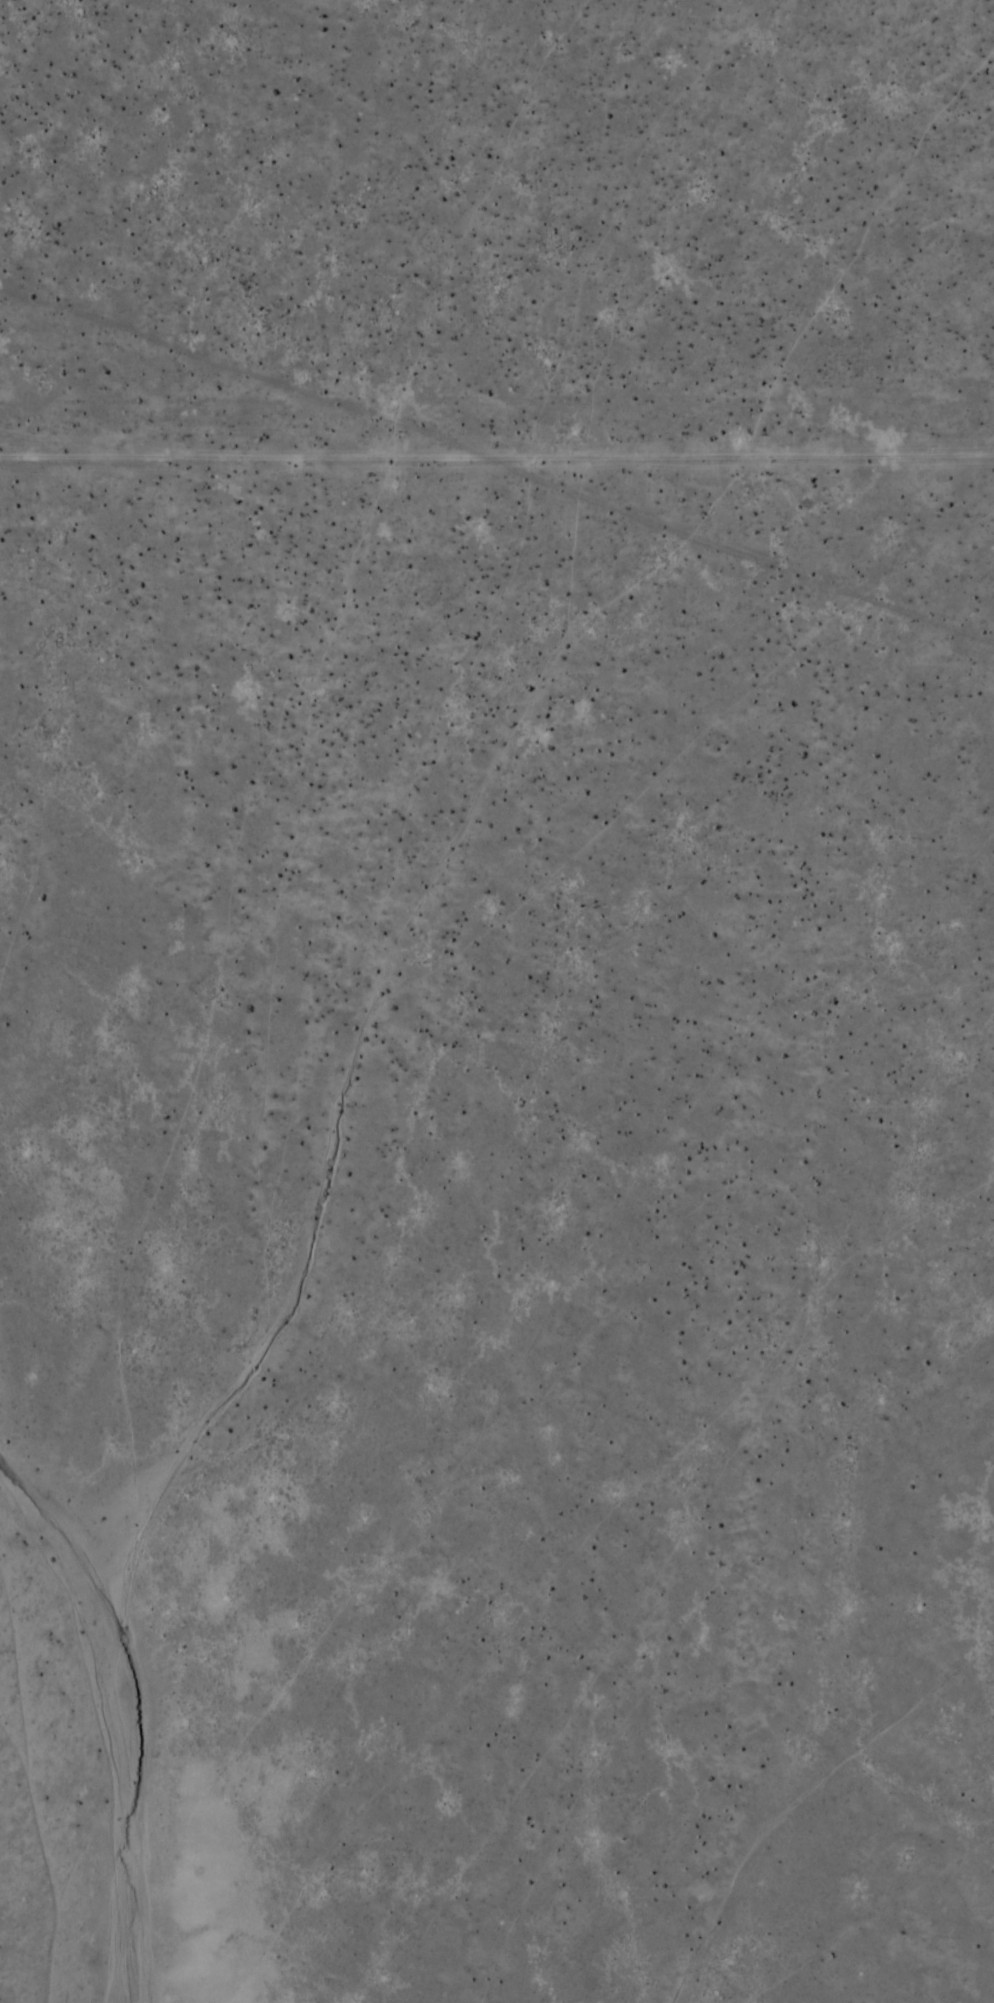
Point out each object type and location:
road: (497, 1279)

